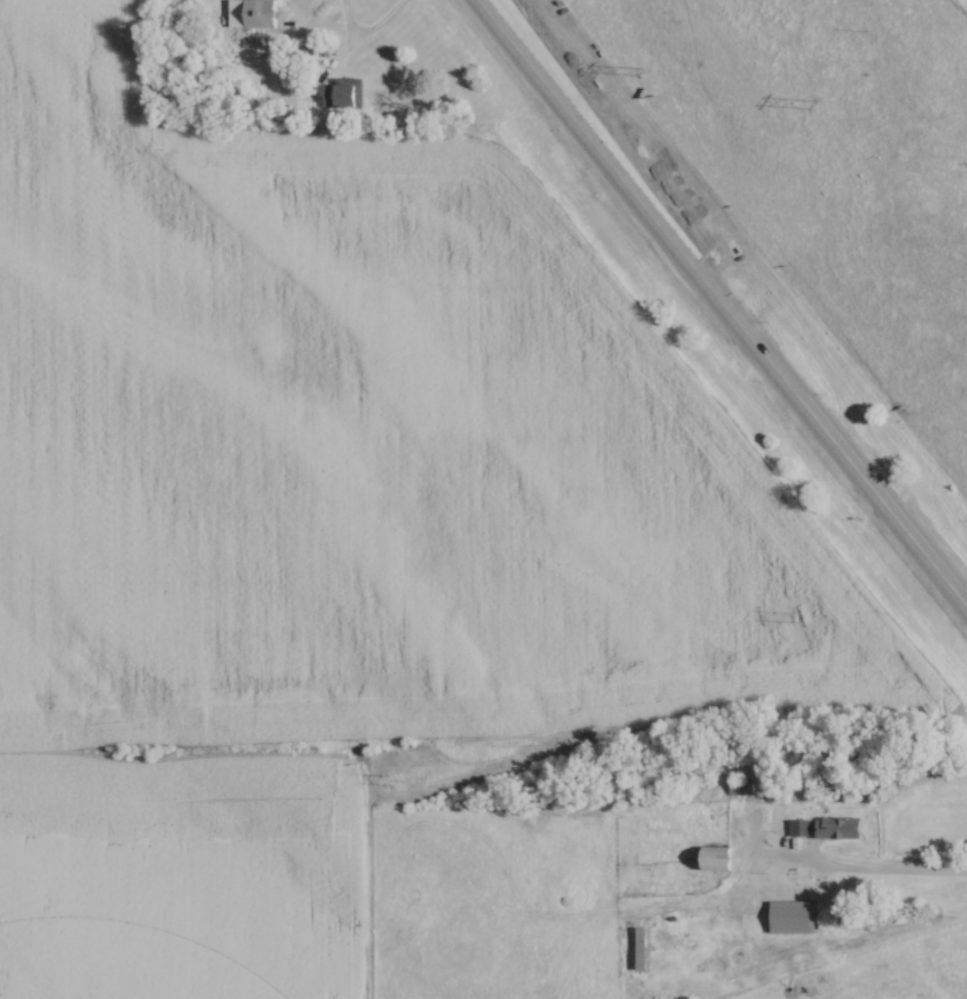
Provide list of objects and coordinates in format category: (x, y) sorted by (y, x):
building: (261, 14)
road: (368, 29)
power tower: (639, 72)
building: (344, 93)
power tower: (808, 96)
road: (722, 307)
power tower: (799, 615)
power tower: (393, 779)
building: (741, 788)
building: (839, 828)
building: (800, 829)
building: (717, 859)
road: (864, 876)
building: (791, 917)
building: (635, 949)

